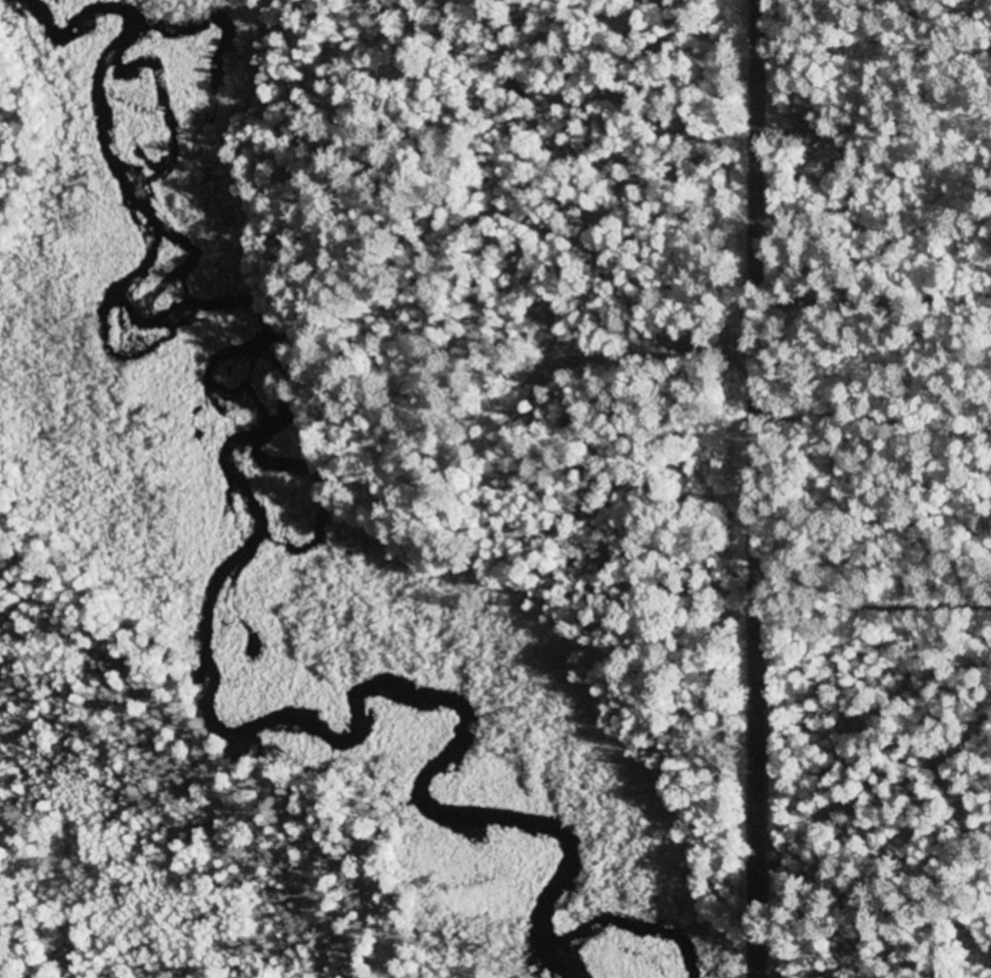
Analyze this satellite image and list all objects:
road: (878, 73)
road: (762, 488)
road: (877, 533)
river: (214, 542)
road: (877, 755)
road: (877, 847)

